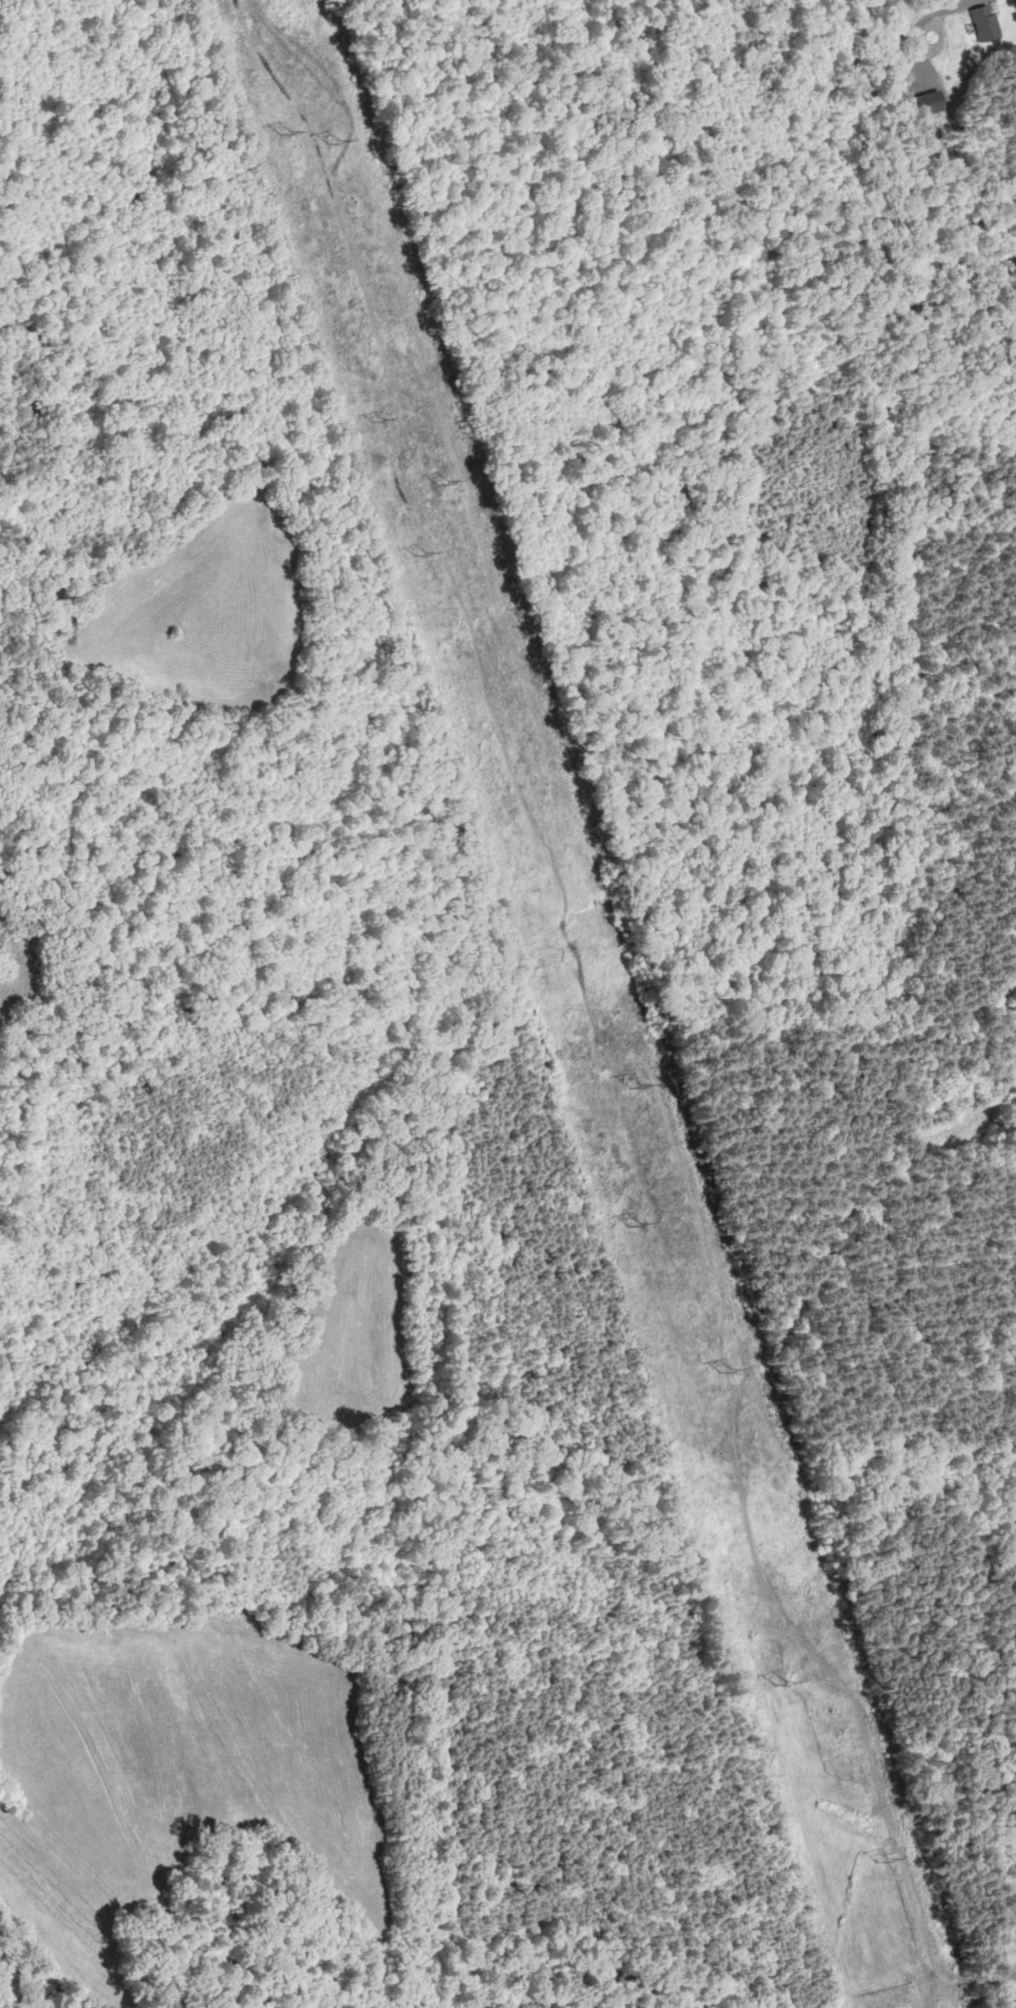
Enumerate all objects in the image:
road: (918, 22)
building: (985, 25)
building: (928, 103)
power tower: (267, 130)
power tower: (337, 142)
power tower: (443, 485)
power tower: (399, 550)
power tower: (644, 1086)
power tower: (611, 1223)
power tower: (726, 1362)
power tower: (822, 1671)
power tower: (757, 1679)

